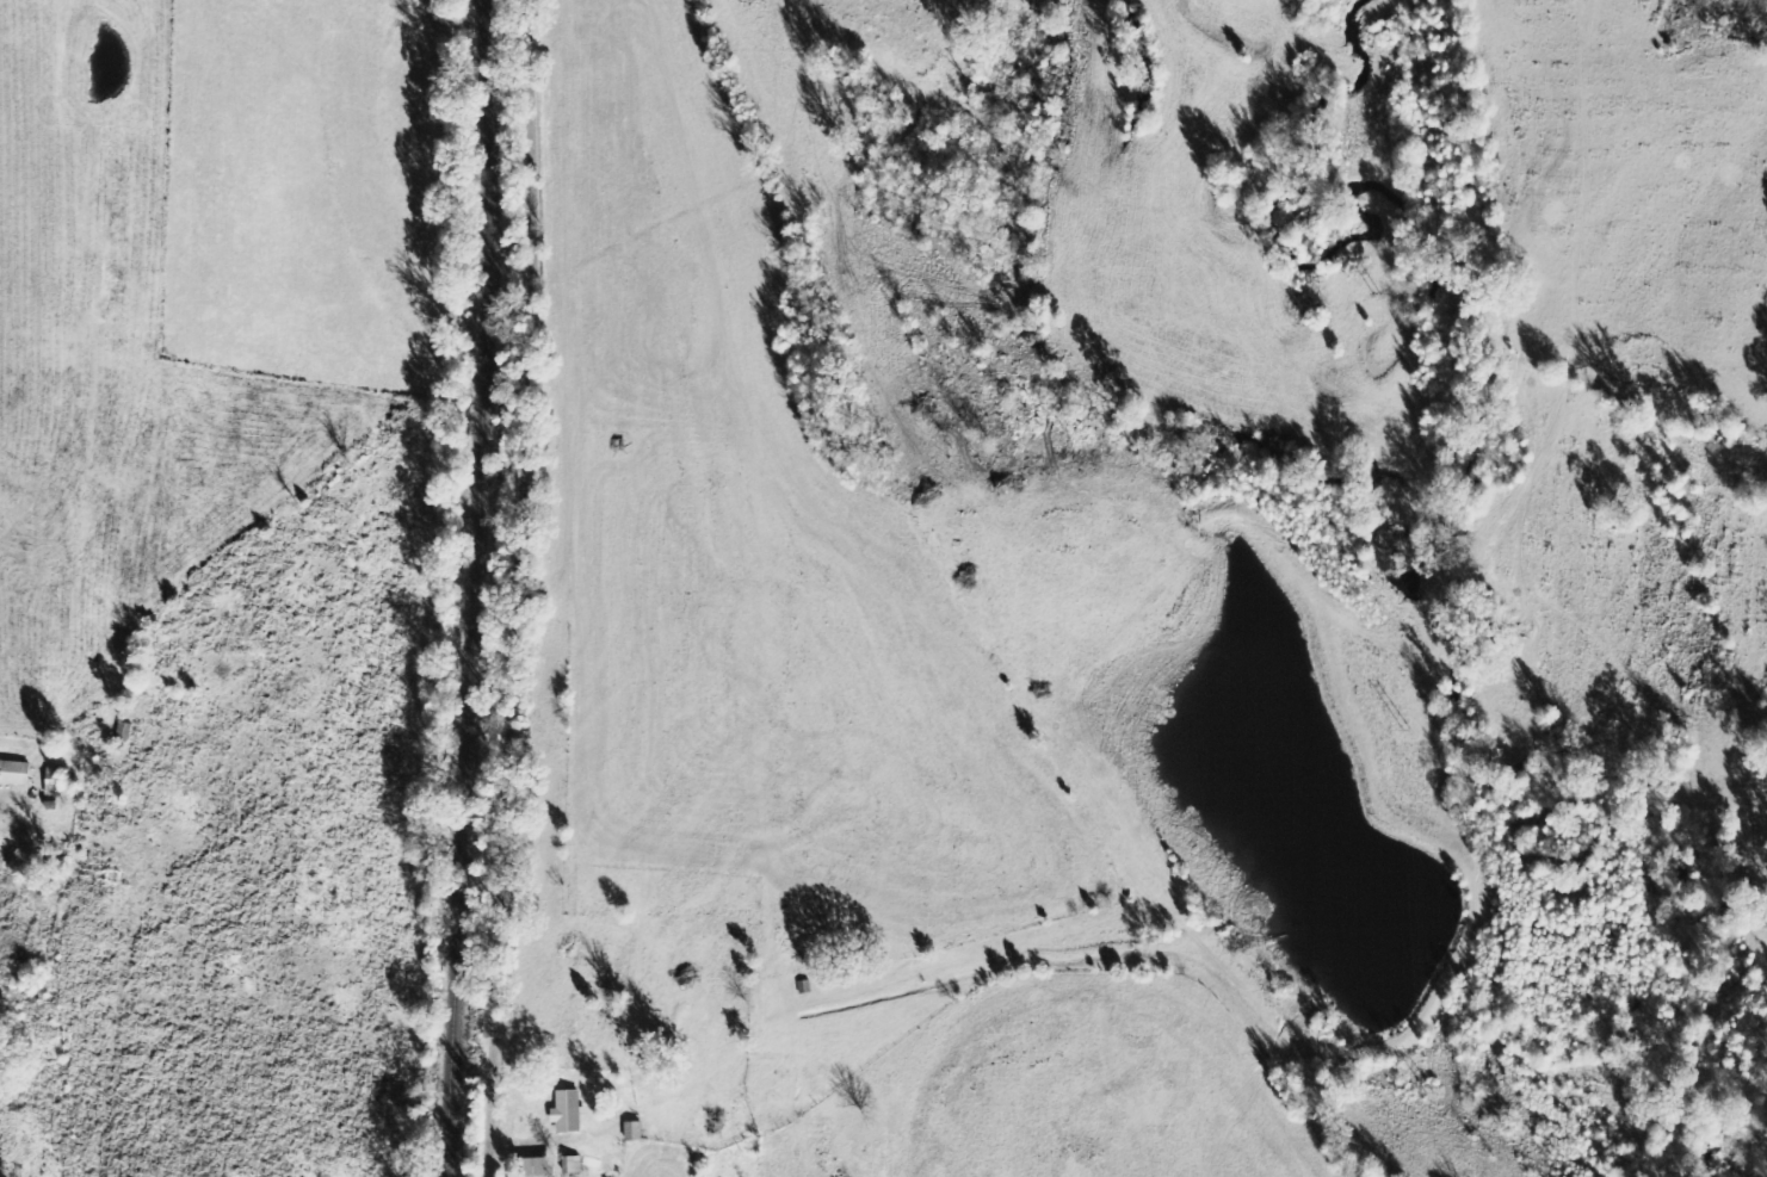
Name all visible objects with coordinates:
power tower: (1382, 297)
railway: (492, 587)
road: (562, 587)
power tower: (1408, 731)
building: (17, 773)
power tower: (1432, 1089)
building: (568, 1111)
building: (631, 1132)
building: (606, 1148)

